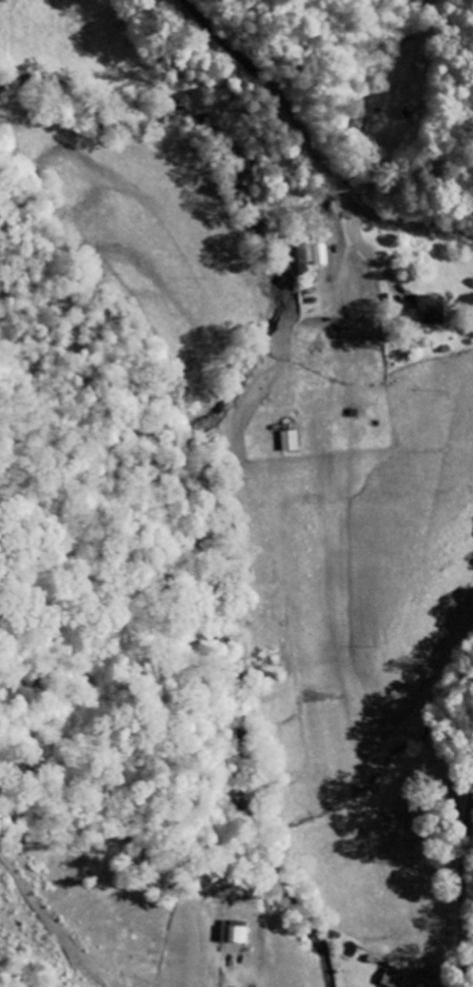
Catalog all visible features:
road: (311, 144)
building: (312, 258)
building: (433, 310)
building: (291, 441)
road: (463, 902)
building: (236, 935)
building: (403, 979)

